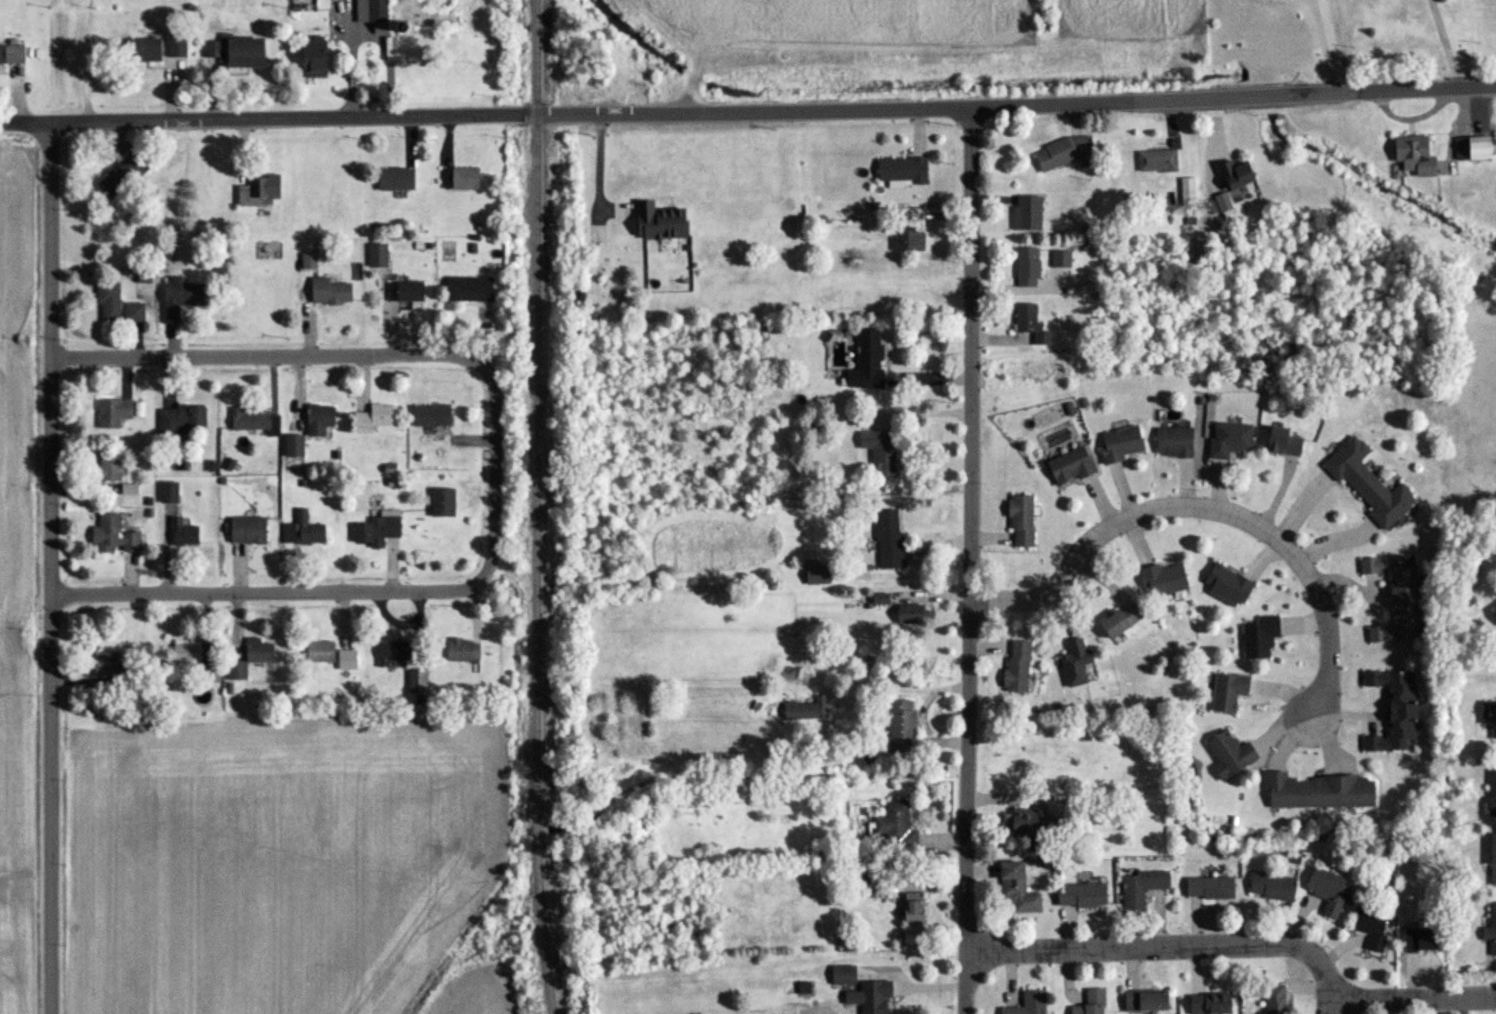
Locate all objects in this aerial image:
building: (367, 10)
road: (1443, 43)
road: (1320, 45)
building: (174, 47)
building: (141, 50)
building: (234, 51)
building: (11, 54)
building: (308, 56)
road: (83, 61)
road: (1017, 105)
road: (269, 119)
building: (1470, 147)
building: (1061, 153)
building: (1408, 153)
building: (1155, 162)
road: (598, 168)
building: (899, 170)
building: (1232, 173)
building: (121, 176)
building: (393, 178)
building: (463, 179)
building: (257, 191)
building: (1026, 213)
building: (657, 222)
building: (907, 239)
building: (376, 255)
building: (1060, 259)
building: (1026, 266)
building: (467, 288)
building: (406, 291)
building: (328, 292)
building: (178, 298)
building: (106, 300)
building: (132, 312)
building: (1030, 323)
road: (263, 353)
building: (865, 361)
building: (117, 412)
building: (429, 415)
building: (180, 419)
building: (371, 419)
building: (316, 420)
building: (250, 421)
building: (1228, 439)
building: (1172, 442)
building: (1280, 442)
building: (1119, 443)
building: (291, 446)
building: (881, 454)
building: (1068, 466)
building: (107, 469)
road: (496, 473)
building: (1366, 484)
building: (167, 493)
building: (440, 503)
railway: (540, 507)
road: (1207, 507)
building: (1020, 521)
building: (244, 530)
building: (375, 530)
building: (302, 531)
building: (182, 533)
building: (111, 536)
building: (888, 539)
road: (969, 561)
road: (50, 568)
building: (814, 573)
building: (1161, 580)
building: (1226, 585)
road: (260, 592)
building: (1396, 598)
building: (1493, 611)
building: (907, 615)
building: (1118, 620)
building: (1258, 637)
building: (460, 650)
building: (390, 652)
building: (329, 655)
building: (248, 657)
building: (194, 660)
building: (1073, 662)
building: (105, 664)
building: (1015, 666)
building: (1226, 692)
building: (806, 709)
building: (1392, 710)
road: (922, 715)
building: (1490, 718)
building: (900, 726)
building: (1227, 754)
building: (1316, 791)
building: (1491, 793)
building: (1019, 822)
building: (894, 826)
building: (1491, 861)
building: (863, 887)
building: (1270, 887)
building: (1139, 888)
building: (1208, 888)
building: (1015, 889)
building: (1325, 890)
building: (1079, 895)
building: (910, 908)
building: (1370, 930)
building: (1490, 930)
building: (1417, 941)
road: (1168, 946)
building: (841, 975)
building: (869, 997)
road: (1416, 997)
building: (1274, 999)
building: (1145, 1000)
building: (1089, 1002)
building: (1209, 1003)
building: (1027, 1004)
road: (1337, 1007)

